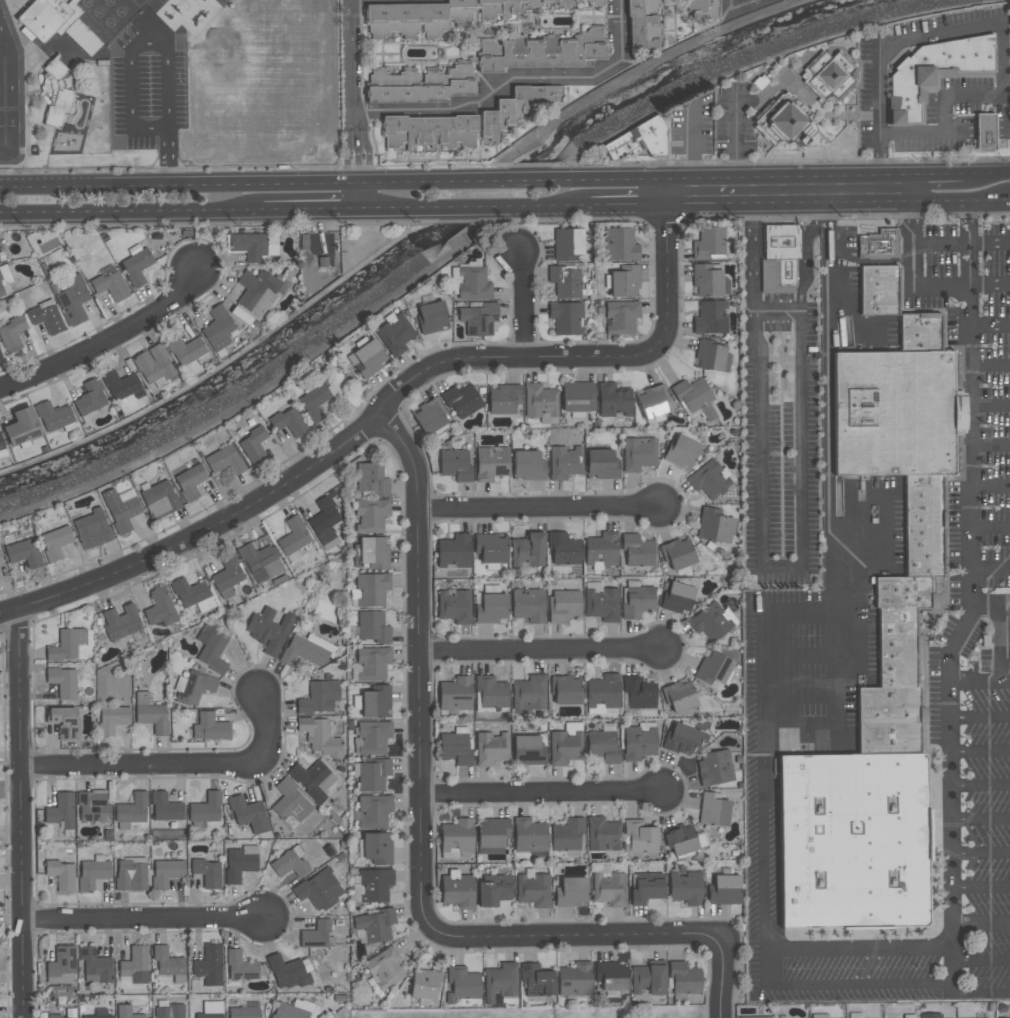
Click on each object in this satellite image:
road: (385, 0)
building: (573, 2)
road: (733, 2)
road: (741, 2)
building: (498, 9)
building: (703, 9)
building: (645, 16)
park: (267, 18)
building: (411, 19)
road: (987, 26)
road: (618, 32)
road: (130, 41)
building: (541, 52)
road: (353, 65)
building: (932, 72)
building: (827, 75)
building: (420, 85)
road: (4, 93)
building: (56, 94)
road: (491, 99)
building: (515, 108)
park: (229, 117)
building: (780, 125)
building: (430, 132)
building: (984, 132)
building: (637, 140)
road: (168, 155)
road: (359, 157)
road: (988, 174)
road: (937, 175)
road: (622, 180)
road: (479, 182)
road: (374, 184)
road: (180, 185)
road: (791, 189)
road: (362, 197)
road: (989, 200)
road: (937, 201)
road: (630, 205)
road: (580, 206)
road: (480, 207)
road: (375, 208)
road: (181, 210)
road: (407, 243)
building: (566, 243)
road: (968, 243)
building: (710, 244)
building: (878, 244)
building: (253, 245)
building: (620, 245)
road: (835, 245)
road: (842, 246)
road: (960, 247)
road: (806, 250)
building: (1, 255)
building: (778, 258)
building: (135, 267)
building: (469, 281)
building: (564, 281)
building: (705, 281)
building: (5, 282)
building: (624, 282)
building: (109, 283)
road: (912, 285)
building: (258, 291)
building: (72, 299)
road: (522, 302)
road: (971, 306)
road: (777, 312)
building: (45, 316)
building: (431, 316)
building: (565, 317)
building: (620, 317)
building: (709, 318)
building: (479, 319)
building: (217, 329)
building: (394, 333)
building: (11, 334)
road: (107, 338)
building: (186, 350)
building: (0, 356)
building: (711, 357)
building: (366, 358)
building: (152, 364)
road: (991, 366)
road: (828, 381)
road: (269, 384)
building: (119, 385)
road: (973, 387)
building: (577, 397)
building: (89, 398)
building: (693, 398)
building: (317, 399)
road: (388, 399)
building: (502, 399)
building: (612, 400)
building: (651, 400)
building: (461, 401)
building: (540, 401)
road: (992, 407)
building: (52, 416)
building: (428, 416)
building: (288, 422)
building: (21, 426)
building: (252, 445)
road: (992, 445)
building: (2, 448)
building: (681, 452)
building: (638, 453)
building: (224, 460)
building: (564, 462)
building: (490, 463)
building: (454, 464)
building: (600, 464)
building: (527, 465)
building: (709, 479)
building: (369, 480)
building: (189, 482)
building: (159, 499)
building: (120, 510)
road: (544, 510)
building: (371, 515)
building: (324, 520)
building: (714, 526)
building: (92, 529)
road: (990, 529)
road: (757, 531)
building: (293, 536)
building: (55, 542)
building: (491, 547)
building: (20, 548)
building: (563, 548)
building: (601, 549)
building: (527, 550)
building: (635, 551)
building: (374, 552)
building: (453, 552)
building: (677, 554)
building: (255, 557)
building: (1, 562)
road: (856, 567)
road: (971, 569)
road: (990, 571)
building: (227, 574)
building: (372, 589)
building: (491, 589)
building: (189, 592)
building: (678, 598)
building: (906, 598)
road: (1004, 598)
road: (985, 599)
building: (637, 603)
building: (528, 605)
building: (564, 605)
building: (601, 605)
building: (454, 607)
building: (161, 608)
building: (492, 609)
building: (710, 621)
building: (121, 623)
building: (373, 627)
building: (269, 630)
road: (1000, 641)
building: (63, 646)
road: (764, 649)
building: (213, 653)
building: (303, 653)
road: (545, 655)
road: (803, 657)
building: (372, 663)
building: (712, 669)
road: (420, 670)
building: (62, 682)
building: (195, 687)
building: (565, 689)
building: (491, 692)
building: (603, 692)
building: (529, 693)
building: (638, 693)
building: (455, 695)
building: (679, 696)
road: (801, 696)
building: (319, 698)
building: (377, 702)
building: (152, 718)
road: (980, 718)
building: (113, 719)
building: (63, 722)
building: (212, 727)
building: (319, 737)
building: (374, 737)
building: (681, 740)
building: (638, 743)
building: (565, 747)
building: (603, 747)
building: (491, 748)
building: (456, 749)
building: (528, 751)
road: (980, 752)
road: (174, 764)
building: (715, 768)
road: (950, 773)
building: (373, 775)
building: (309, 780)
road: (980, 787)
road: (543, 794)
building: (290, 802)
building: (93, 807)
building: (165, 808)
building: (132, 809)
building: (206, 809)
building: (61, 810)
building: (714, 810)
building: (374, 811)
road: (17, 813)
building: (248, 814)
road: (981, 820)
building: (677, 834)
building: (492, 835)
building: (567, 835)
building: (603, 835)
building: (529, 836)
building: (457, 837)
building: (640, 837)
building: (378, 848)
road: (981, 854)
building: (239, 865)
building: (289, 866)
building: (166, 873)
building: (207, 873)
building: (92, 874)
building: (61, 875)
building: (131, 878)
building: (375, 885)
building: (647, 887)
building: (685, 888)
building: (319, 890)
building: (609, 890)
building: (458, 891)
building: (533, 891)
building: (725, 891)
building: (571, 893)
building: (492, 894)
road: (136, 924)
road: (969, 924)
building: (375, 925)
building: (316, 934)
road: (582, 936)
building: (167, 962)
building: (62, 963)
building: (135, 965)
building: (94, 966)
building: (210, 966)
building: (240, 966)
building: (384, 968)
road: (770, 969)
building: (287, 972)
road: (953, 972)
building: (611, 976)
road: (724, 977)
building: (684, 978)
building: (648, 979)
building: (536, 980)
building: (574, 980)
building: (500, 982)
building: (425, 984)
building: (462, 985)
building: (169, 1011)
building: (126, 1012)
building: (288, 1012)
park: (670, 1012)
building: (244, 1013)
building: (855, 1015)
building: (53, 1016)
building: (208, 1016)
building: (818, 1016)
building: (909, 1016)
building: (931, 1016)
building: (96, 1017)
building: (754, 1017)

